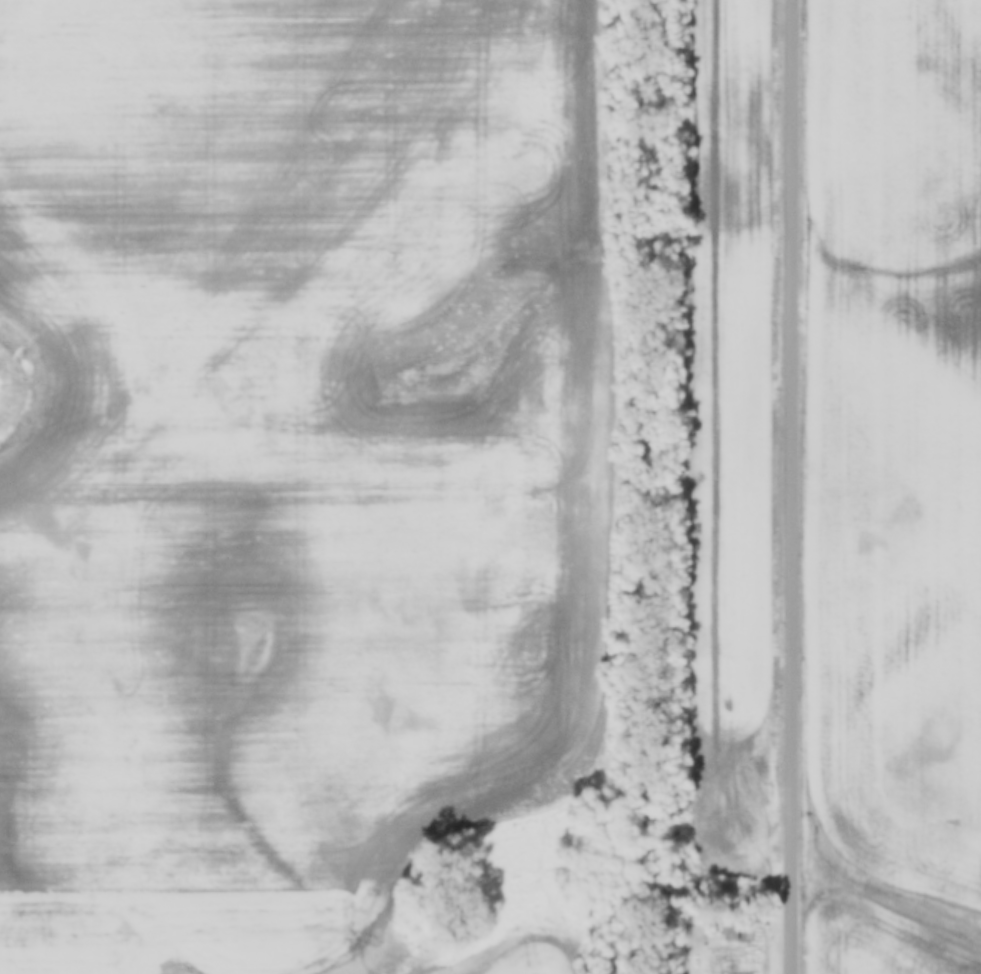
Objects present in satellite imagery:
road: (792, 487)
building: (730, 932)

